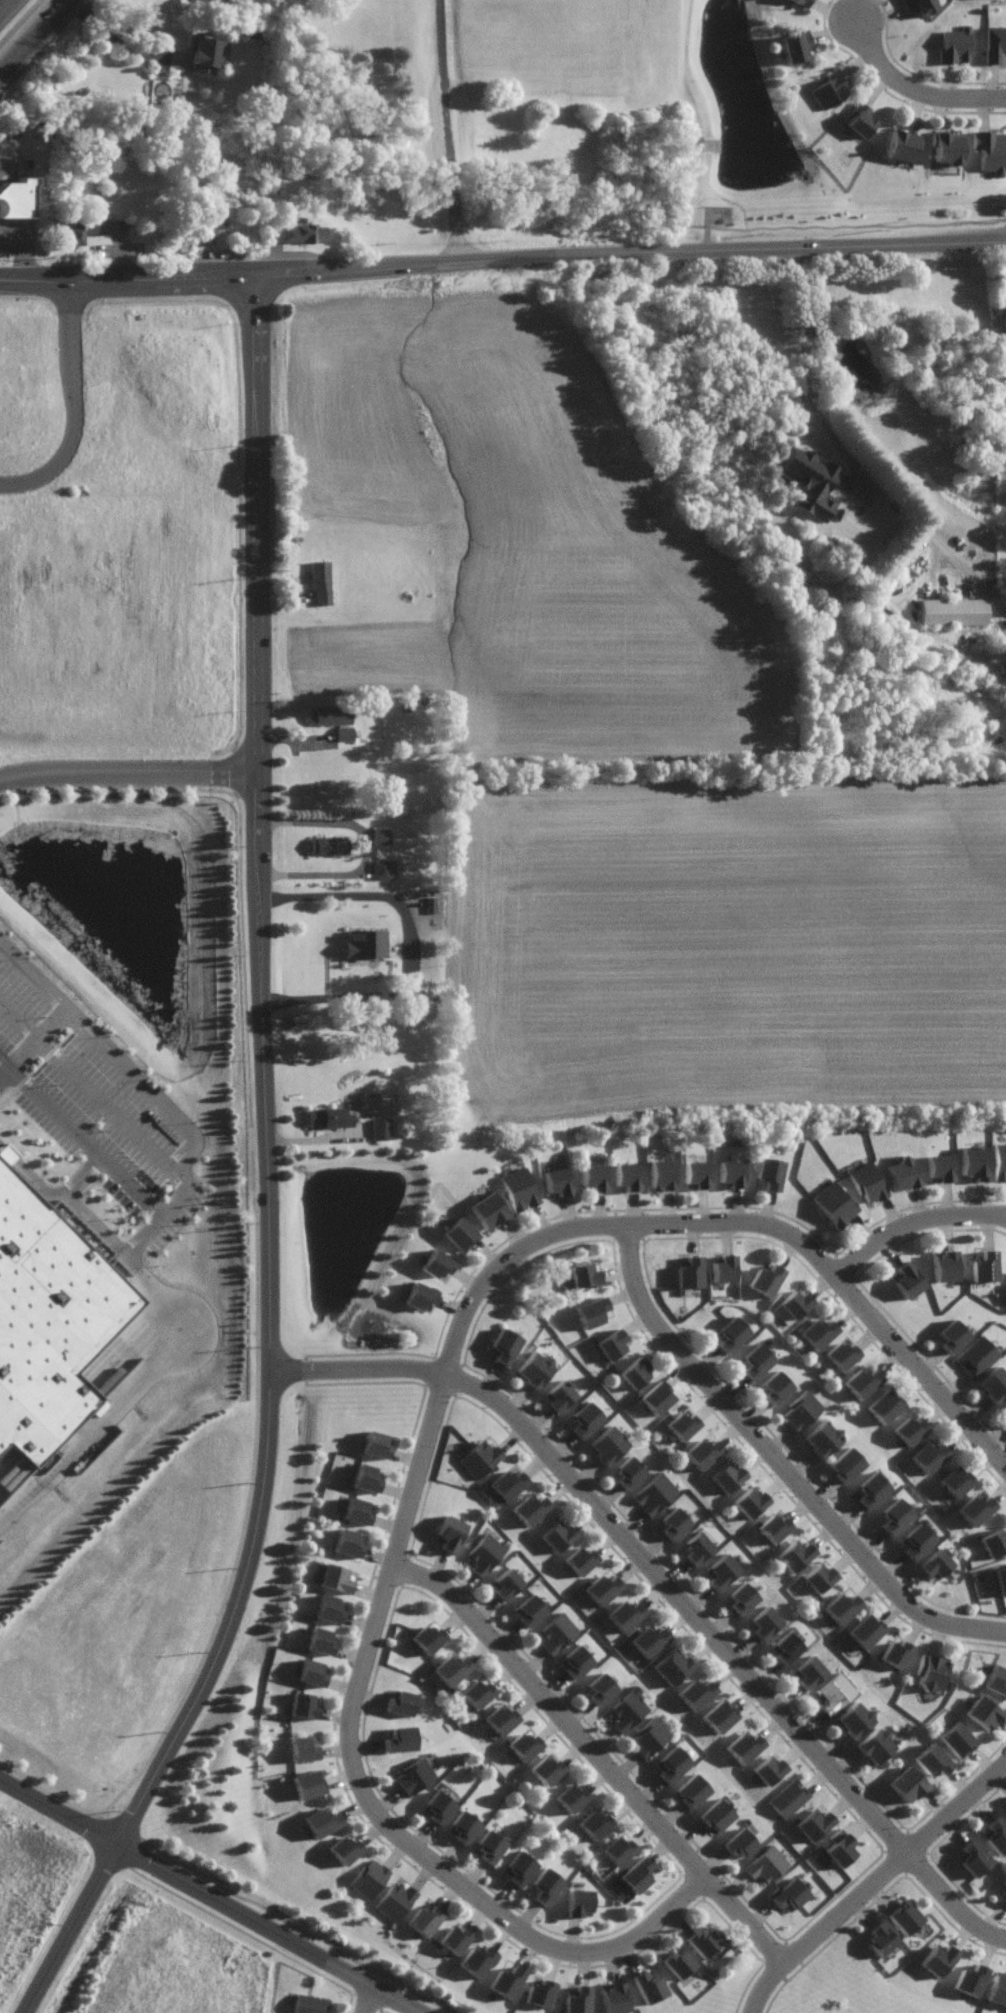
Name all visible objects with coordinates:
building: (242, 0)
road: (1, 1)
building: (200, 1)
building: (803, 2)
building: (919, 5)
road: (34, 37)
road: (118, 38)
building: (995, 42)
building: (955, 45)
building: (795, 47)
building: (205, 55)
building: (830, 88)
road: (914, 91)
building: (859, 119)
road: (446, 130)
building: (903, 146)
building: (948, 148)
building: (990, 149)
road: (3, 162)
building: (16, 198)
building: (208, 227)
building: (77, 231)
building: (296, 234)
road: (630, 251)
road: (18, 253)
road: (128, 275)
building: (1005, 322)
road: (809, 371)
road: (79, 406)
building: (812, 483)
building: (321, 583)
building: (953, 612)
building: (329, 715)
building: (345, 734)
road: (128, 772)
building: (381, 836)
building: (327, 846)
road: (369, 847)
road: (258, 865)
building: (382, 871)
building: (366, 944)
road: (409, 949)
road: (34, 1045)
road: (5, 1066)
road: (87, 1087)
road: (154, 1091)
road: (54, 1114)
building: (328, 1117)
building: (381, 1129)
road: (316, 1139)
building: (1000, 1160)
building: (975, 1163)
building: (939, 1167)
building: (730, 1172)
building: (661, 1173)
building: (696, 1173)
building: (769, 1173)
building: (903, 1173)
building: (628, 1175)
building: (593, 1176)
building: (556, 1181)
building: (867, 1181)
road: (129, 1187)
building: (518, 1187)
building: (834, 1202)
building: (488, 1209)
road: (80, 1214)
road: (913, 1222)
road: (611, 1227)
building: (460, 1234)
building: (436, 1263)
building: (945, 1265)
building: (984, 1267)
building: (723, 1268)
building: (689, 1271)
building: (585, 1275)
building: (765, 1279)
building: (907, 1279)
building: (419, 1295)
building: (791, 1306)
building: (589, 1311)
building: (48, 1322)
building: (731, 1333)
building: (815, 1333)
building: (952, 1334)
building: (612, 1344)
building: (503, 1345)
building: (840, 1355)
building: (976, 1356)
building: (755, 1361)
road: (921, 1367)
building: (535, 1369)
building: (635, 1373)
building: (861, 1381)
building: (994, 1385)
building: (775, 1387)
building: (560, 1396)
building: (655, 1397)
road: (122, 1404)
building: (884, 1406)
building: (1004, 1409)
building: (802, 1410)
building: (585, 1418)
building: (682, 1425)
building: (909, 1430)
building: (821, 1439)
building: (374, 1444)
building: (608, 1445)
road: (761, 1445)
building: (702, 1453)
building: (927, 1455)
building: (480, 1456)
building: (846, 1465)
building: (628, 1472)
building: (726, 1476)
building: (365, 1477)
building: (954, 1481)
building: (506, 1485)
building: (871, 1490)
building: (654, 1493)
building: (749, 1502)
building: (531, 1508)
building: (973, 1508)
building: (356, 1510)
building: (895, 1516)
building: (673, 1522)
building: (774, 1527)
building: (450, 1533)
building: (557, 1535)
building: (916, 1540)
building: (348, 1543)
building: (994, 1543)
building: (696, 1548)
building: (484, 1554)
building: (795, 1555)
building: (580, 1560)
building: (935, 1564)
building: (721, 1571)
building: (332, 1577)
building: (819, 1577)
building: (1001, 1579)
building: (506, 1582)
road: (670, 1584)
building: (603, 1589)
building: (741, 1598)
building: (841, 1606)
building: (328, 1608)
building: (529, 1609)
building: (625, 1613)
building: (764, 1623)
building: (866, 1630)
building: (558, 1632)
building: (427, 1637)
building: (318, 1639)
building: (649, 1639)
building: (786, 1648)
building: (895, 1654)
building: (576, 1660)
building: (672, 1666)
building: (450, 1667)
building: (931, 1671)
building: (310, 1672)
building: (808, 1672)
building: (996, 1679)
building: (600, 1687)
building: (478, 1693)
building: (695, 1693)
building: (836, 1693)
building: (400, 1702)
building: (301, 1705)
building: (628, 1709)
building: (982, 1711)
building: (719, 1715)
building: (502, 1719)
building: (854, 1720)
building: (649, 1735)
building: (399, 1738)
building: (956, 1739)
building: (523, 1744)
road: (168, 1745)
building: (875, 1745)
building: (744, 1746)
building: (303, 1748)
road: (597, 1749)
building: (932, 1761)
building: (672, 1762)
building: (547, 1769)
building: (770, 1769)
building: (414, 1775)
building: (307, 1783)
building: (908, 1783)
road: (364, 1789)
building: (692, 1789)
building: (570, 1796)
building: (789, 1798)
building: (437, 1806)
road: (57, 1811)
building: (716, 1814)
building: (321, 1820)
building: (594, 1823)
building: (813, 1823)
building: (463, 1826)
building: (996, 1834)
building: (741, 1843)
building: (489, 1844)
building: (839, 1847)
building: (617, 1848)
building: (343, 1849)
building: (972, 1857)
building: (766, 1864)
building: (518, 1867)
building: (635, 1876)
building: (369, 1878)
building: (1004, 1882)
building: (545, 1883)
road: (877, 1887)
building: (1005, 1889)
building: (788, 1893)
building: (396, 1900)
building: (578, 1901)
building: (903, 1917)
building: (424, 1918)
road: (272, 1928)
building: (454, 1939)
building: (878, 1939)
building: (702, 1941)
building: (477, 1959)
building: (936, 1960)
building: (678, 1962)
building: (506, 1979)
building: (968, 1979)
building: (649, 1985)
building: (997, 1988)
building: (539, 1992)
building: (615, 1996)
road: (373, 2000)
building: (576, 2000)
building: (308, 2003)

